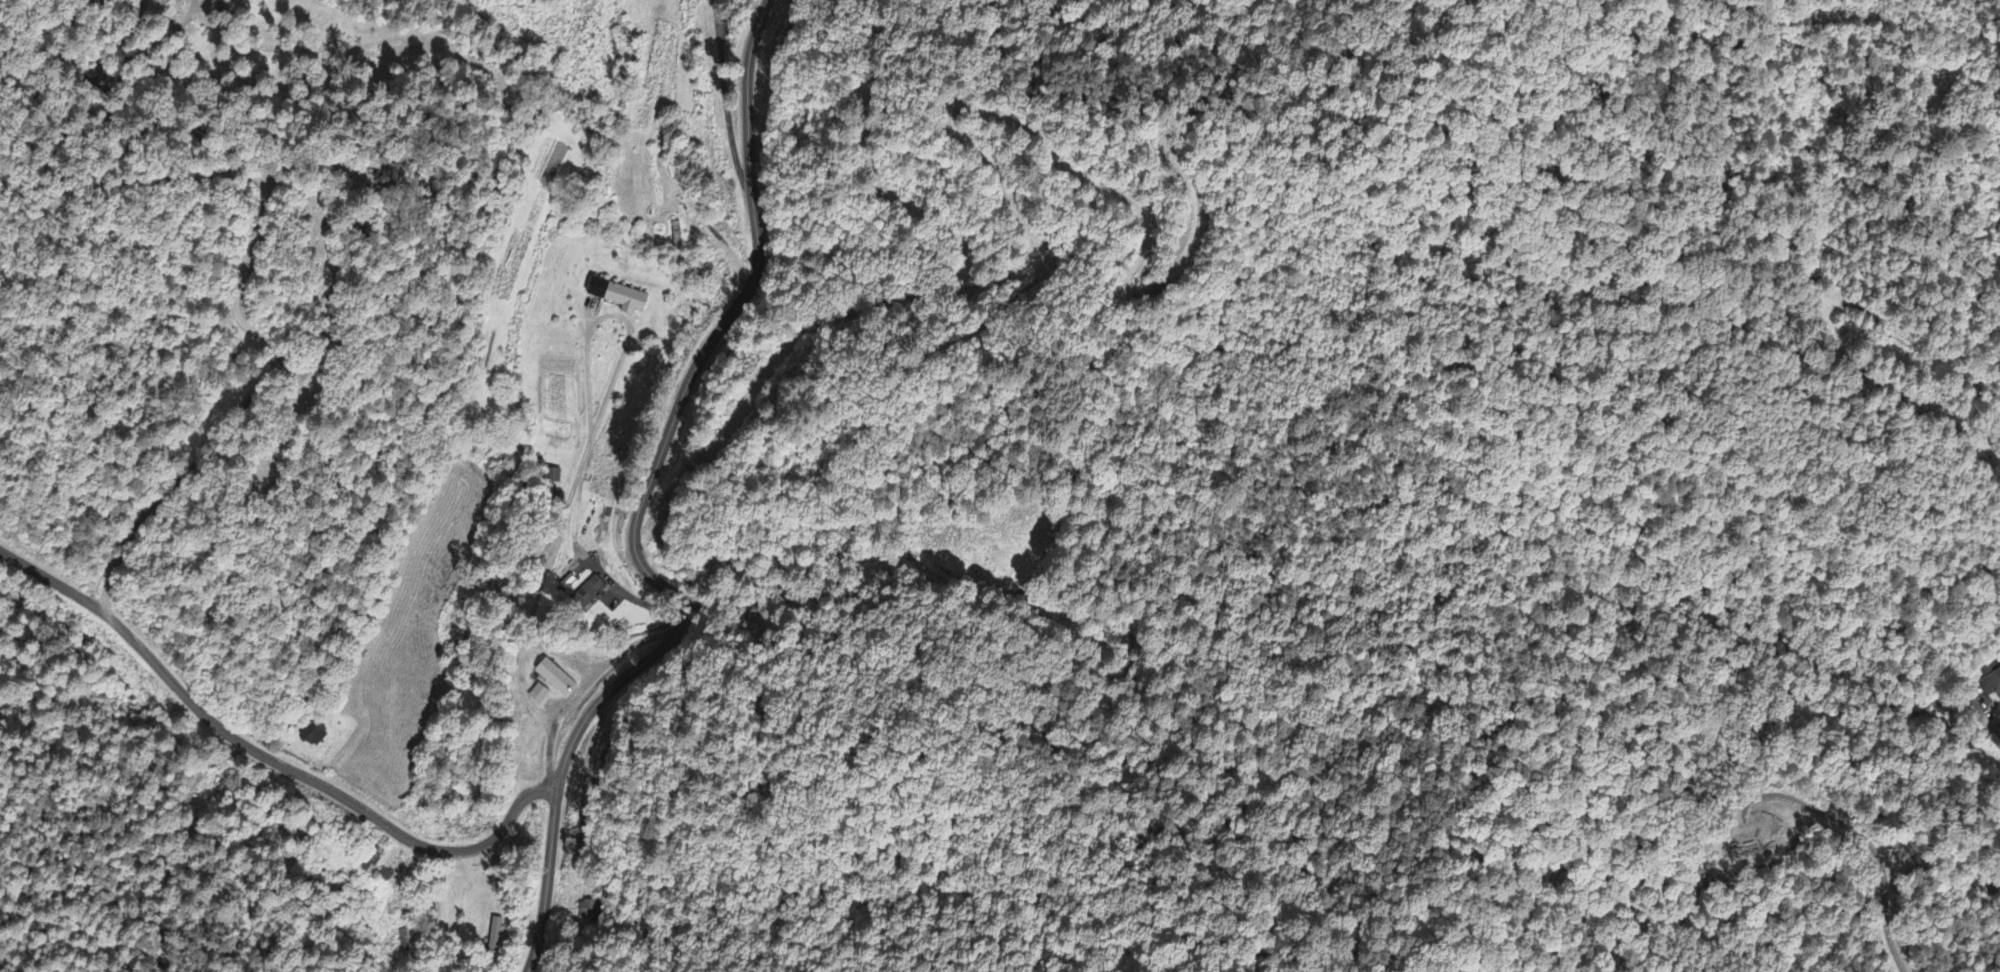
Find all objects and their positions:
building: (620, 298)
building: (553, 478)
road: (674, 495)
building: (591, 594)
building: (557, 680)
building: (1994, 683)
building: (540, 696)
building: (315, 736)
road: (264, 756)
building: (497, 937)

